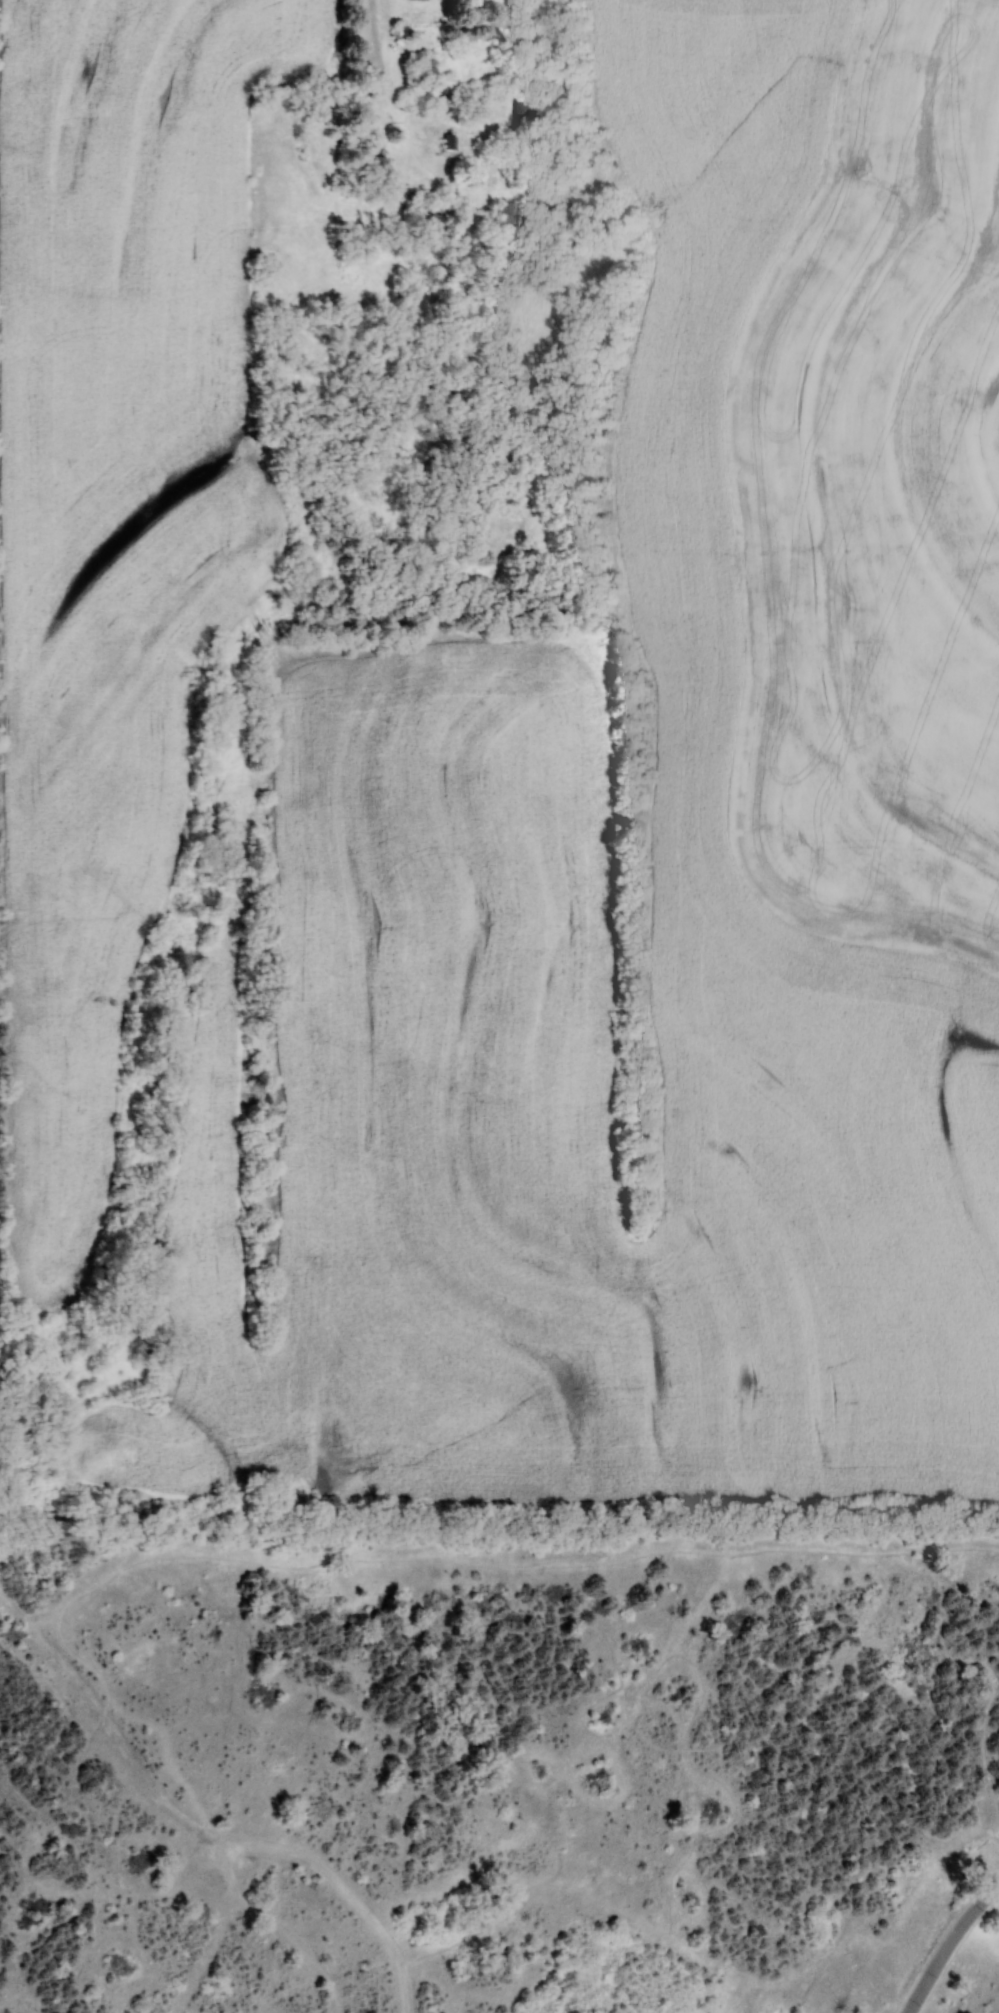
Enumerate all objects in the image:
building: (425, 65)
building: (530, 105)
building: (506, 212)
road: (523, 1564)
road: (9, 1603)
road: (606, 1642)
road: (993, 1656)
road: (312, 1666)
road: (107, 1725)
road: (987, 1734)
park: (498, 1754)
road: (219, 1834)
road: (499, 1864)
road: (323, 1866)
road: (431, 1887)
road: (7, 1895)
road: (83, 1927)
road: (234, 1927)
road: (284, 1928)
road: (493, 1932)
road: (397, 1945)
road: (949, 1945)
road: (6, 1966)
road: (414, 1985)

